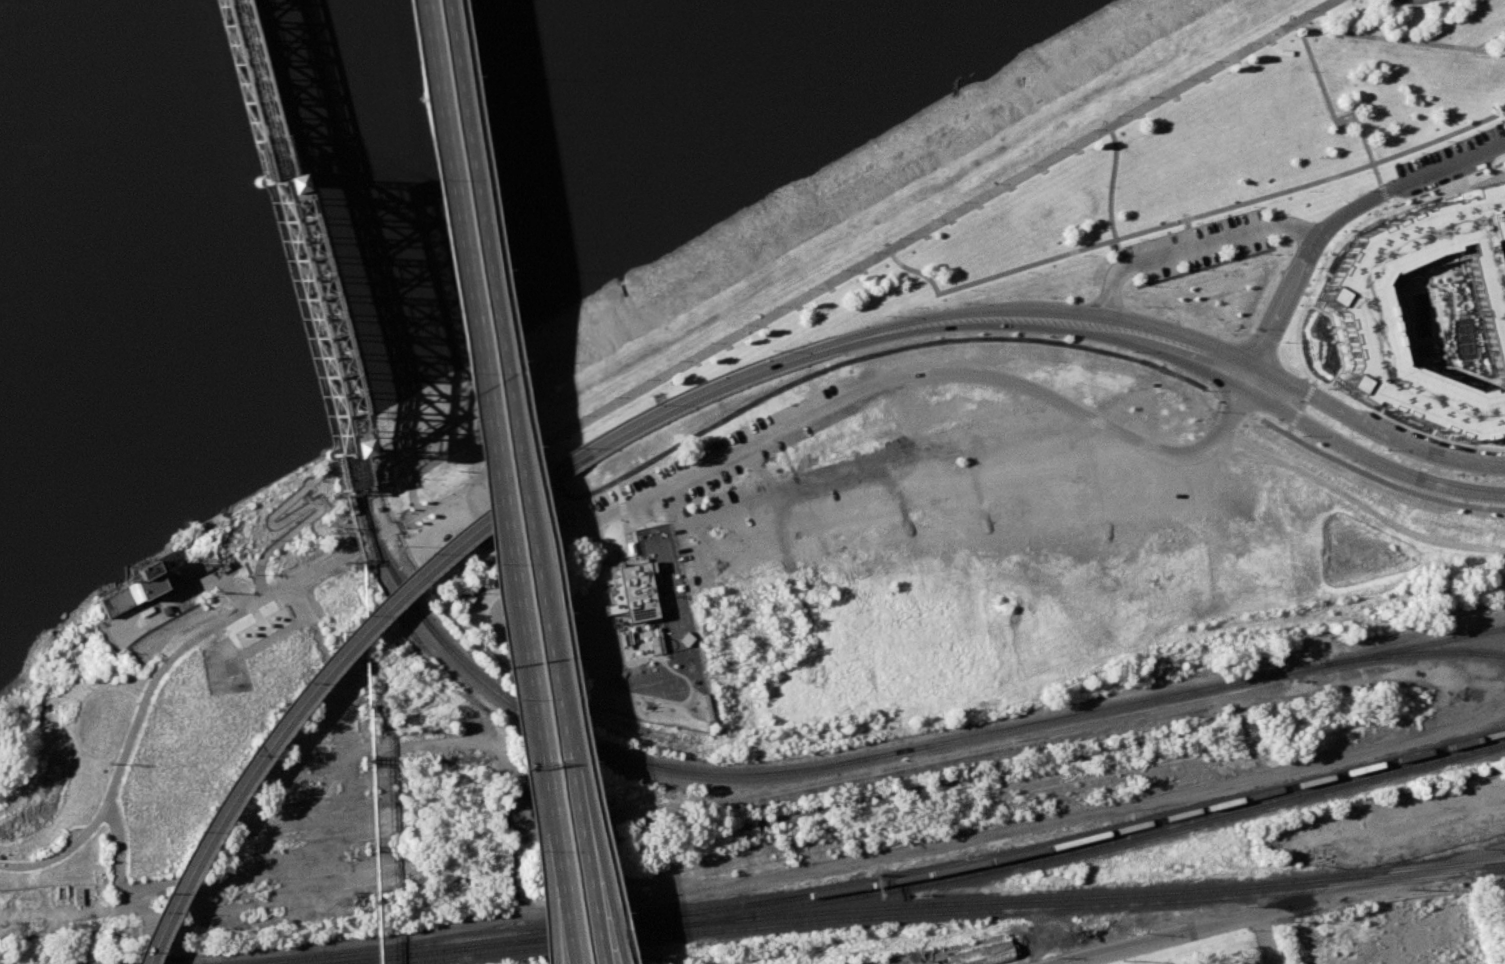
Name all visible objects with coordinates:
street lamp: (1302, 10)
building: (1392, 10)
road: (1448, 21)
street lamp: (1277, 24)
road: (1368, 24)
road: (1488, 39)
street lamp: (1354, 40)
road: (1400, 40)
street lamp: (1245, 42)
street lamp: (1414, 48)
street lamp: (1475, 55)
street lamp: (1213, 60)
street lamp: (1308, 70)
street lamp: (459, 73)
street lamp: (1181, 78)
railway: (253, 96)
street lamp: (1148, 96)
street lamp: (1116, 114)
road: (1330, 117)
street lamp: (1329, 125)
street lamp: (1091, 128)
street lamp: (1476, 129)
street lamp: (1447, 141)
river: (264, 142)
street lamp: (1058, 147)
street lamp: (1420, 152)
park: (1168, 160)
street lamp: (1026, 165)
street lamp: (1366, 172)
street lamp: (417, 176)
building: (272, 183)
street lamp: (993, 183)
street lamp: (1366, 189)
street lamp: (1309, 190)
road: (1382, 192)
road: (1108, 197)
street lamp: (1406, 200)
street lamp: (961, 201)
road: (1387, 205)
street lamp: (1252, 206)
road: (1339, 216)
road: (1189, 218)
street lamp: (929, 219)
street lamp: (1195, 222)
building: (1499, 229)
road: (1188, 234)
street lamp: (897, 237)
street lamp: (1139, 238)
parking lot: (1198, 247)
road: (1187, 249)
street lamp: (871, 251)
railway: (1034, 254)
street lamp: (1262, 254)
street lamp: (1081, 255)
road: (876, 256)
street lamp: (489, 266)
street lamp: (1316, 267)
street lamp: (839, 269)
street lamp: (1205, 270)
street lamp: (1025, 272)
street lamp: (1147, 285)
street lamp: (807, 287)
street lamp: (968, 290)
street lamp: (1046, 296)
street lamp: (960, 303)
street lamp: (774, 305)
street lamp: (912, 306)
building: (1360, 310)
railway: (311, 315)
street lamp: (883, 316)
road: (1299, 319)
street lamp: (742, 324)
road: (908, 327)
street lamp: (1252, 328)
street lamp: (1226, 333)
railway: (843, 336)
street lamp: (1044, 336)
road: (1333, 340)
street lamp: (1280, 341)
street lamp: (709, 342)
road: (892, 349)
street lamp: (770, 350)
street lamp: (1129, 352)
street lamp: (678, 359)
street lamp: (450, 362)
street lamp: (645, 378)
street lamp: (1330, 378)
road: (1313, 382)
road: (878, 387)
street lamp: (1199, 390)
road: (1307, 392)
street lamp: (613, 396)
street lamp: (651, 404)
road: (1301, 405)
street lamp: (1213, 411)
street lamp: (580, 414)
road: (1294, 417)
street lamp: (1240, 426)
road: (1373, 427)
street lamp: (555, 428)
road: (512, 429)
road: (1288, 429)
road: (479, 434)
street lamp: (1301, 436)
street lamp: (521, 445)
building: (340, 448)
street lamp: (572, 448)
street lamp: (1381, 448)
road: (1364, 455)
road: (349, 460)
railway: (349, 463)
street lamp: (1454, 473)
road: (533, 482)
street lamp: (458, 483)
road: (1390, 485)
street lamp: (425, 501)
road: (1182, 504)
building: (1283, 511)
road: (406, 520)
road: (372, 537)
street lamp: (478, 562)
road: (309, 575)
building: (981, 583)
building: (131, 589)
building: (630, 593)
street lamp: (553, 612)
park: (239, 644)
railway: (1278, 644)
railway: (1418, 645)
railway: (1417, 652)
railway: (316, 667)
road: (320, 669)
railway: (326, 673)
street lamp: (578, 704)
road: (892, 715)
road: (131, 739)
road: (1008, 743)
street lamp: (577, 762)
railway: (782, 772)
railway: (1084, 848)
street lamp: (518, 851)
railway: (1410, 869)
road: (822, 870)
railway: (1402, 879)
railway: (883, 882)
road: (129, 896)
railway: (915, 896)
railway: (986, 901)
road: (1284, 907)
road: (590, 911)
road: (596, 911)
railway: (971, 911)
road: (546, 916)
road: (555, 916)
road: (1268, 938)
railway: (493, 943)
railway: (525, 950)
building: (983, 954)

